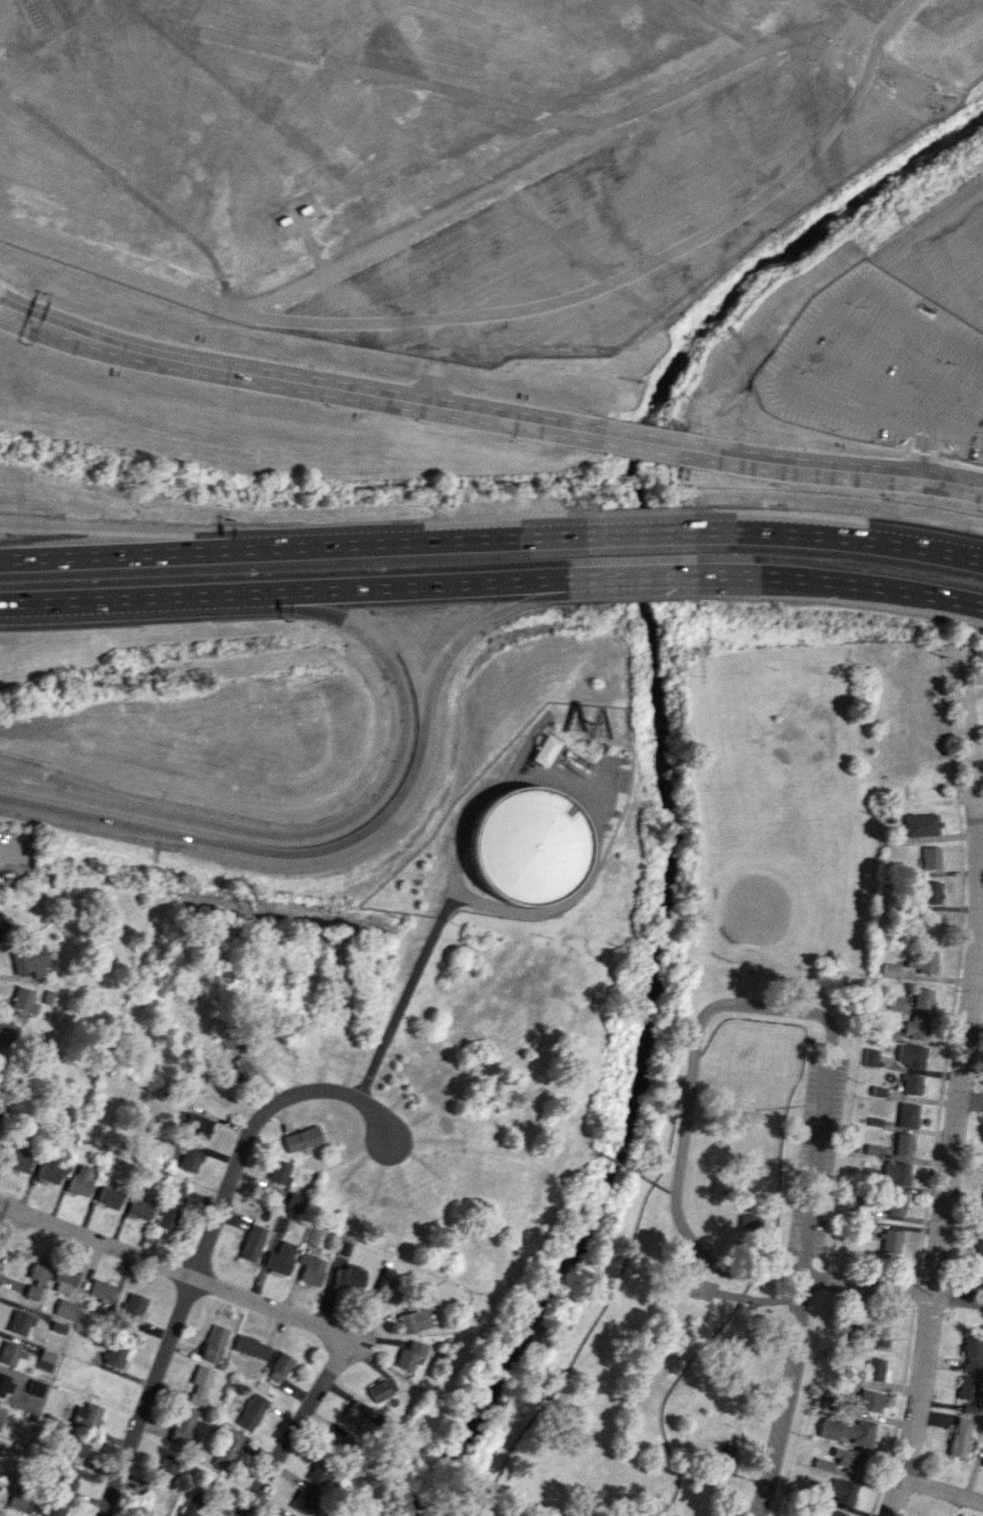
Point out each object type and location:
road: (714, 26)
road: (49, 34)
road: (409, 81)
road: (128, 186)
road: (496, 188)
airport: (517, 230)
road: (576, 250)
road: (578, 295)
road: (2, 304)
road: (2, 306)
road: (904, 311)
road: (437, 337)
road: (800, 348)
parking lot: (876, 366)
road: (852, 375)
road: (299, 381)
road: (431, 381)
road: (975, 388)
road: (927, 418)
road: (950, 424)
road: (978, 432)
road: (639, 440)
parking lot: (976, 444)
road: (829, 468)
road: (135, 529)
road: (638, 533)
road: (830, 537)
road: (435, 540)
road: (135, 553)
road: (639, 575)
road: (831, 581)
road: (415, 585)
road: (114, 598)
road: (523, 742)
building: (543, 750)
road: (412, 769)
road: (23, 783)
road: (585, 801)
road: (368, 804)
road: (75, 814)
building: (920, 824)
road: (980, 831)
building: (525, 841)
storage tank: (525, 841)
road: (2, 846)
building: (929, 857)
building: (928, 892)
building: (0, 914)
building: (2, 930)
building: (29, 960)
building: (921, 961)
building: (889, 970)
road: (974, 970)
road: (403, 994)
building: (922, 998)
building: (23, 1000)
road: (750, 1019)
building: (915, 1027)
building: (5, 1029)
building: (911, 1055)
building: (869, 1057)
building: (238, 1069)
building: (910, 1084)
road: (825, 1097)
road: (970, 1099)
building: (907, 1115)
park: (693, 1123)
building: (197, 1127)
building: (301, 1138)
building: (903, 1144)
building: (19, 1157)
building: (189, 1159)
road: (621, 1167)
building: (48, 1169)
building: (278, 1171)
building: (895, 1172)
road: (678, 1173)
building: (79, 1181)
road: (653, 1182)
building: (109, 1197)
building: (294, 1201)
building: (893, 1202)
building: (852, 1203)
building: (980, 1205)
building: (169, 1206)
building: (139, 1208)
building: (282, 1225)
road: (8, 1231)
building: (312, 1236)
building: (886, 1239)
building: (251, 1242)
road: (205, 1244)
building: (980, 1246)
building: (342, 1247)
building: (279, 1257)
building: (310, 1268)
road: (170, 1269)
building: (349, 1275)
road: (804, 1275)
building: (36, 1278)
building: (64, 1280)
road: (868, 1285)
building: (100, 1290)
building: (388, 1290)
road: (958, 1296)
building: (134, 1305)
building: (65, 1309)
building: (413, 1320)
building: (20, 1322)
road: (364, 1335)
building: (873, 1335)
building: (213, 1343)
building: (251, 1347)
building: (9, 1353)
building: (972, 1353)
building: (114, 1354)
building: (410, 1355)
building: (45, 1359)
building: (281, 1363)
building: (875, 1369)
building: (274, 1375)
building: (199, 1384)
building: (4, 1385)
building: (35, 1387)
building: (967, 1387)
building: (379, 1390)
road: (786, 1398)
building: (866, 1400)
road: (917, 1405)
building: (251, 1411)
building: (356, 1413)
building: (1, 1414)
building: (85, 1414)
building: (182, 1425)
road: (291, 1431)
building: (848, 1431)
building: (959, 1436)
building: (338, 1440)
building: (76, 1449)
building: (227, 1449)
building: (728, 1452)
building: (848, 1459)
building: (982, 1463)
building: (166, 1464)
building: (321, 1473)
building: (66, 1476)
building: (841, 1490)
road: (942, 1492)
building: (18, 1500)
building: (302, 1502)
building: (190, 1504)
building: (831, 1512)
building: (289, 1514)

